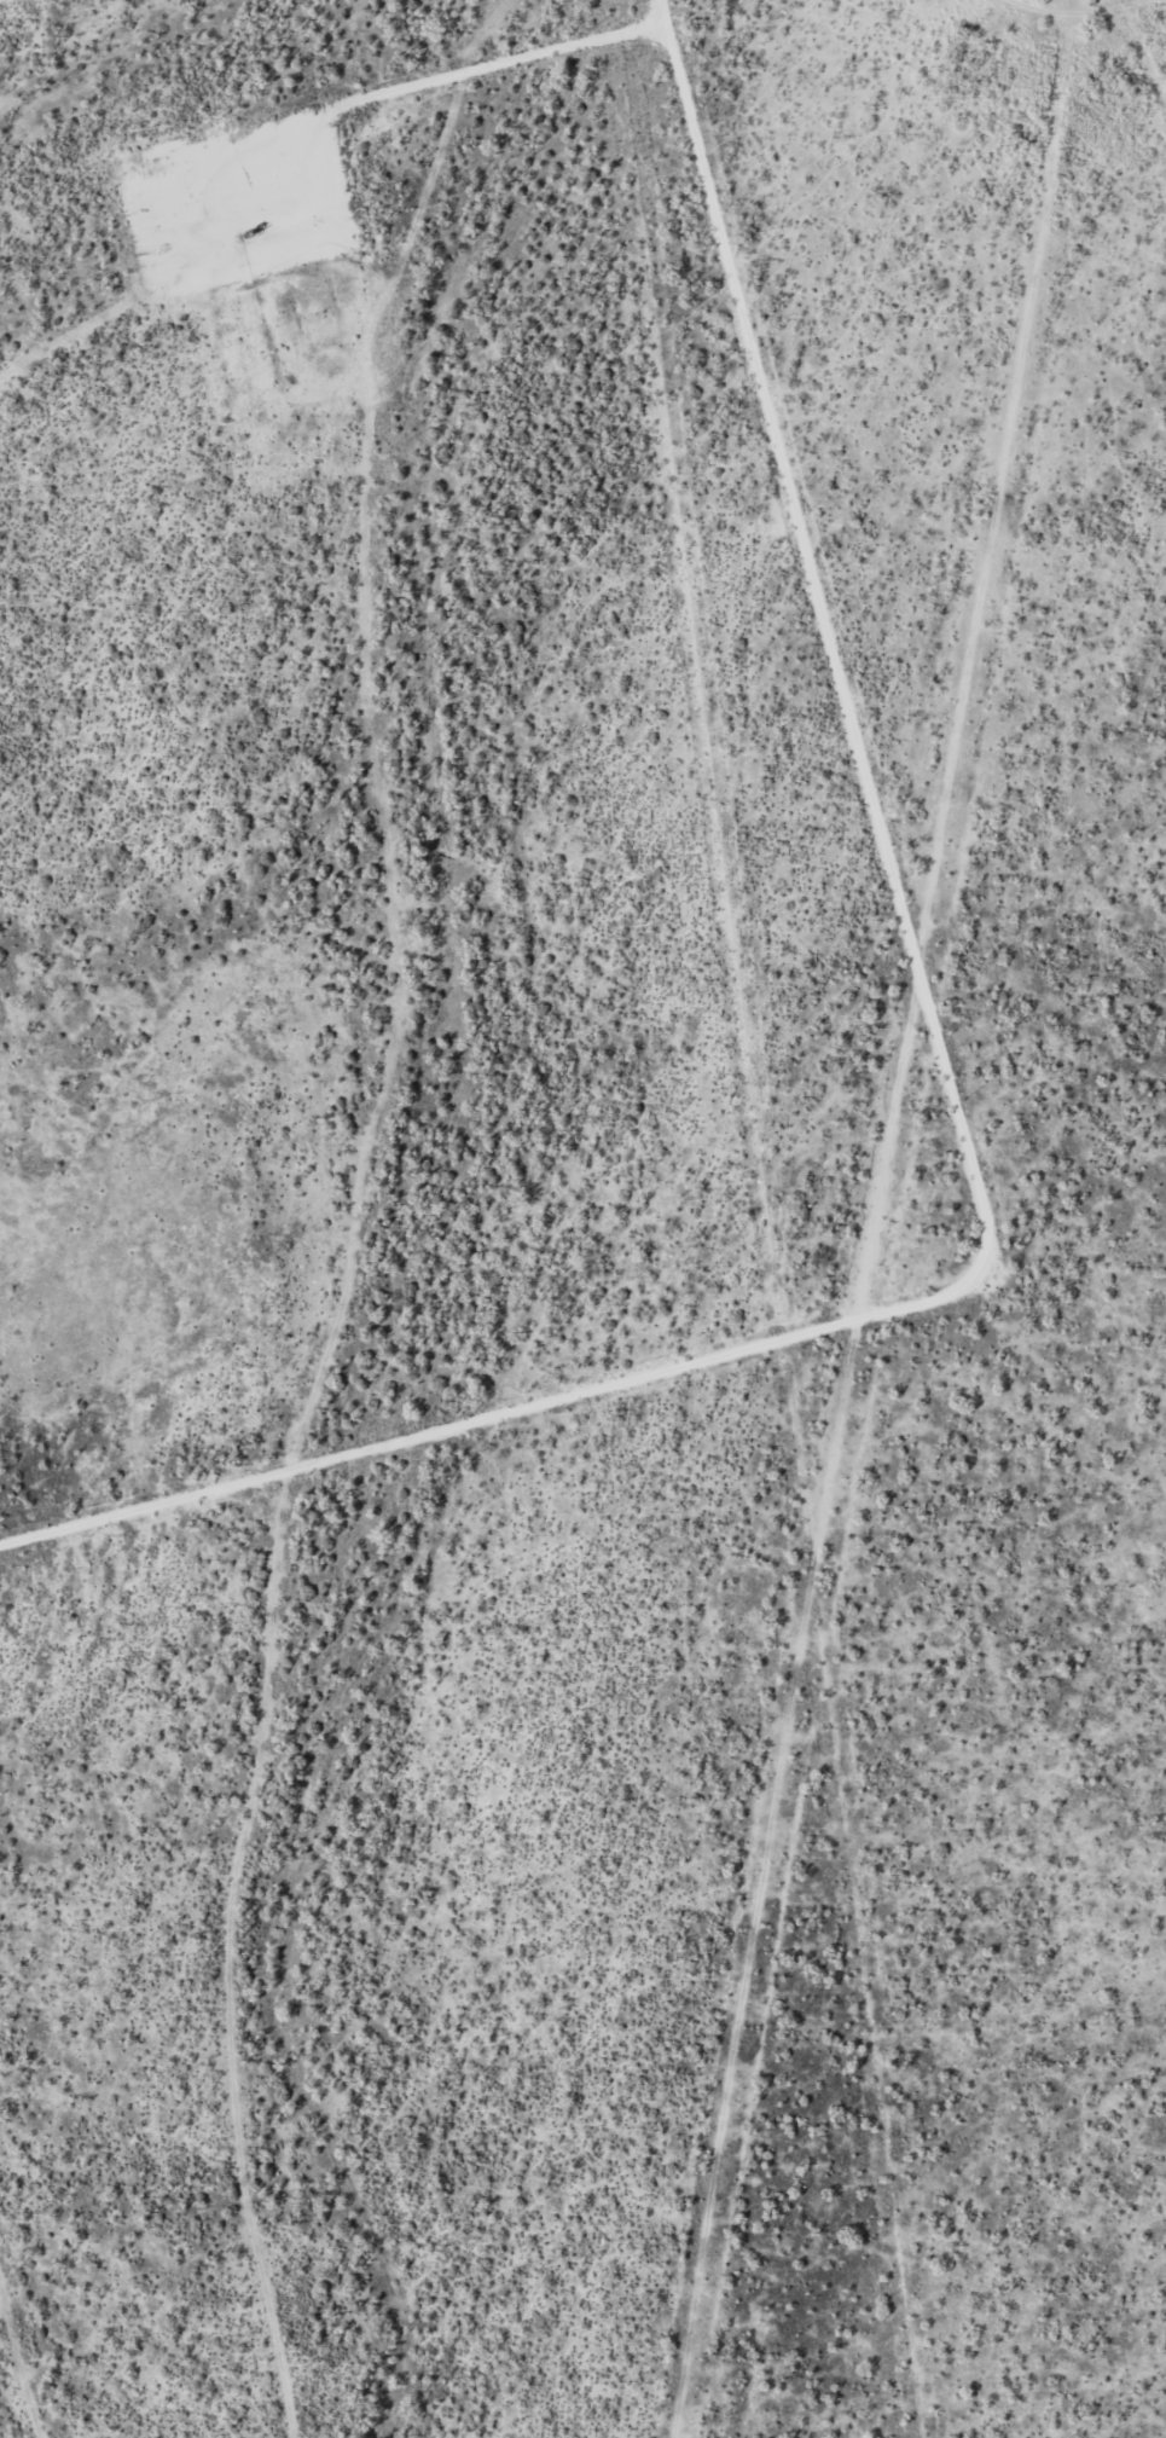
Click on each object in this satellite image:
road: (1074, 47)
road: (864, 1241)

